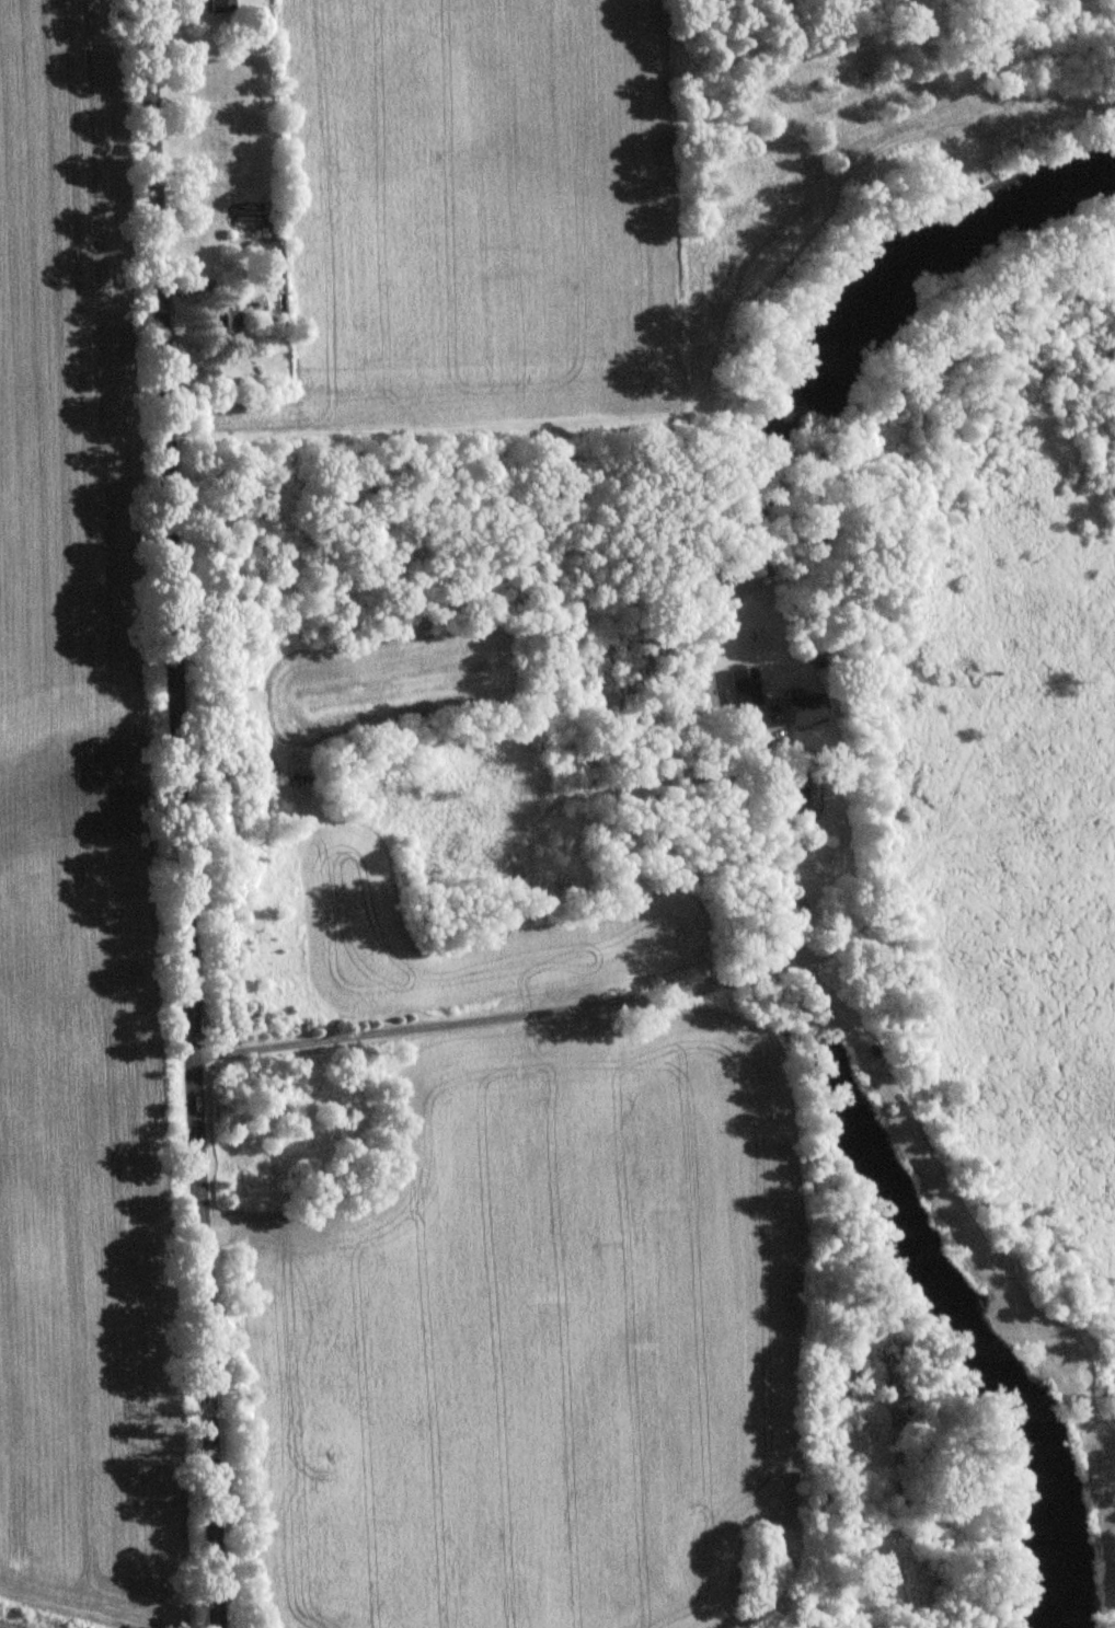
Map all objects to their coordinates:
building: (218, 5)
building: (222, 322)
building: (743, 686)
building: (801, 707)
road: (177, 813)
road: (616, 1001)

